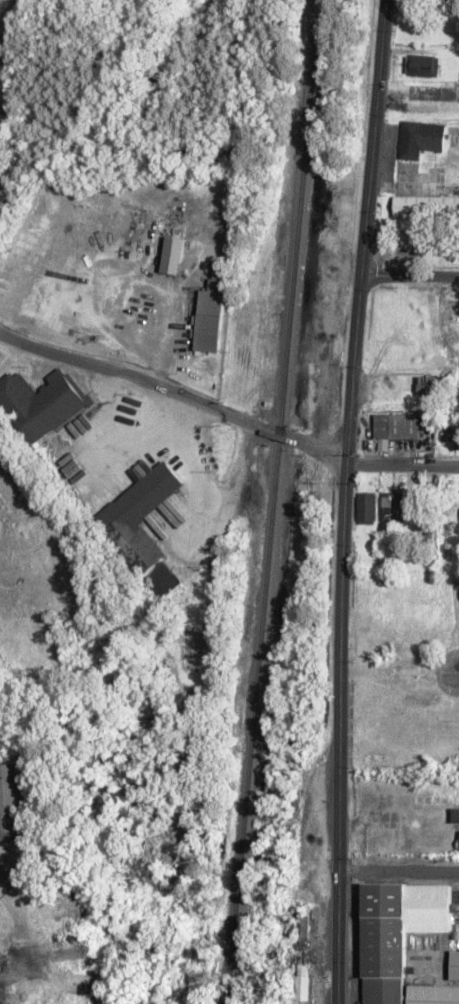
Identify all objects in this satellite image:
building: (421, 66)
building: (419, 138)
building: (425, 205)
building: (172, 255)
road: (408, 277)
building: (209, 312)
road: (173, 394)
building: (41, 402)
building: (393, 427)
building: (450, 434)
road: (401, 464)
railway: (271, 501)
road: (342, 501)
building: (391, 506)
building: (365, 507)
building: (142, 527)
road: (456, 675)
building: (12, 799)
building: (456, 814)
road: (397, 874)
building: (395, 932)
building: (300, 958)
building: (453, 965)
building: (432, 994)

